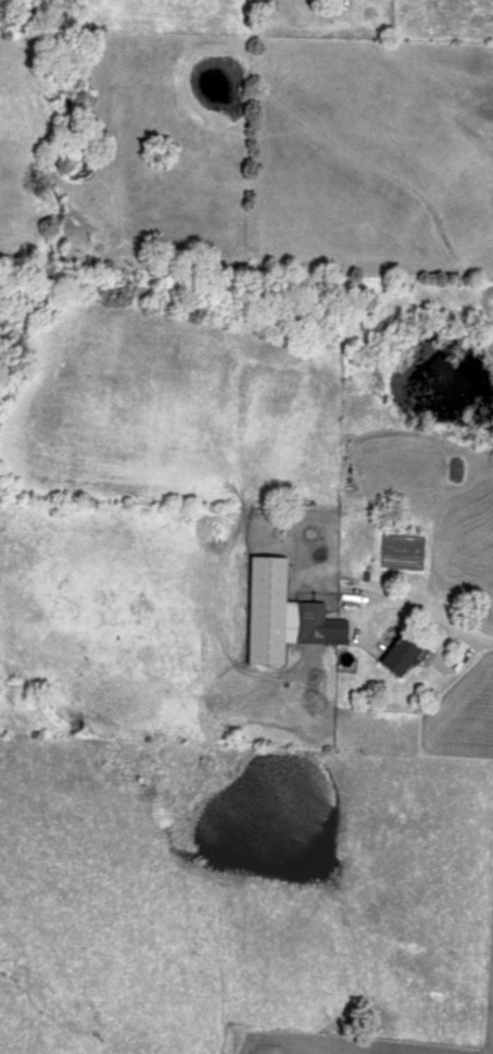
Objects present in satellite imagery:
building: (283, 616)
road: (431, 617)
building: (399, 656)

